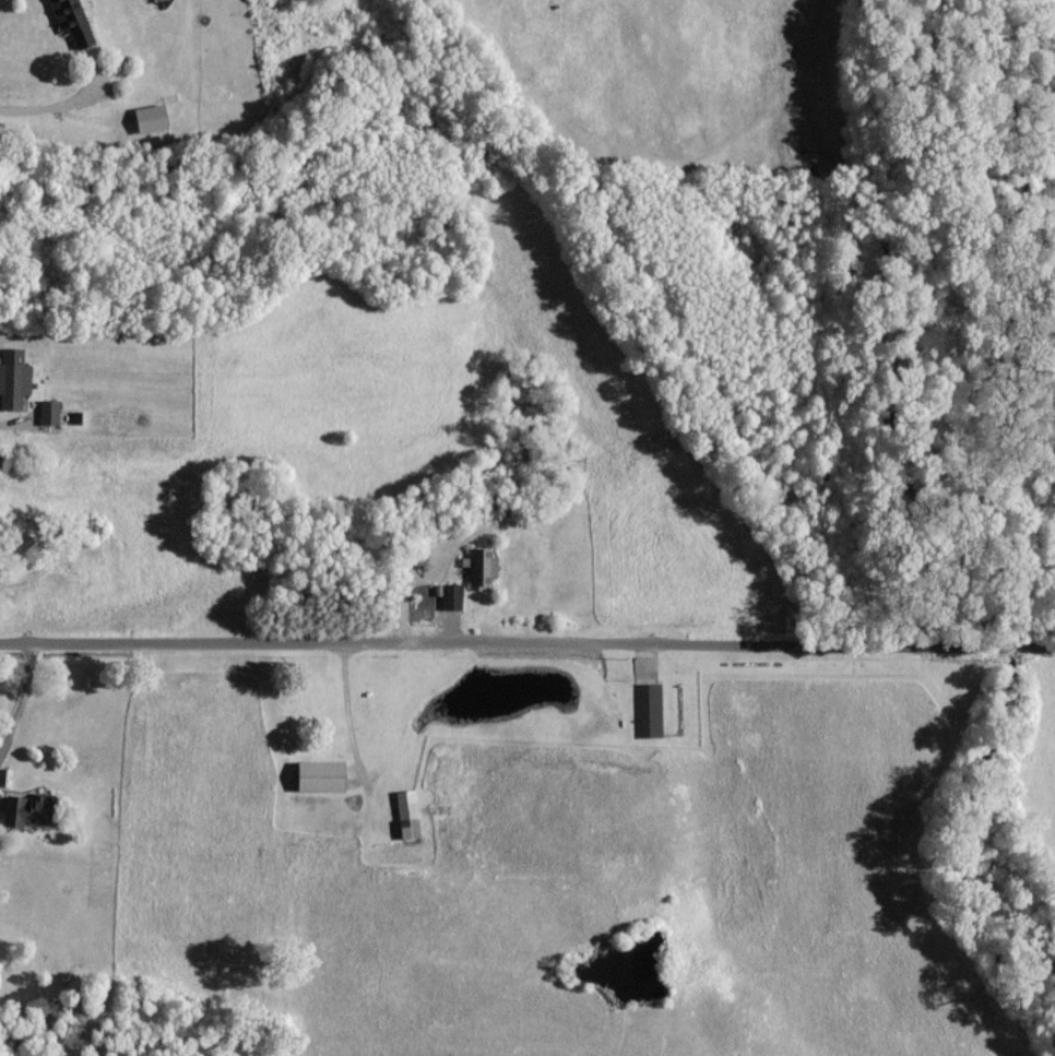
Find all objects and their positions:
building: (72, 21)
road: (52, 105)
building: (151, 117)
building: (13, 377)
building: (49, 411)
building: (483, 566)
building: (452, 595)
road: (526, 643)
road: (23, 698)
building: (648, 708)
road: (352, 709)
building: (320, 775)
building: (28, 809)
building: (407, 814)

